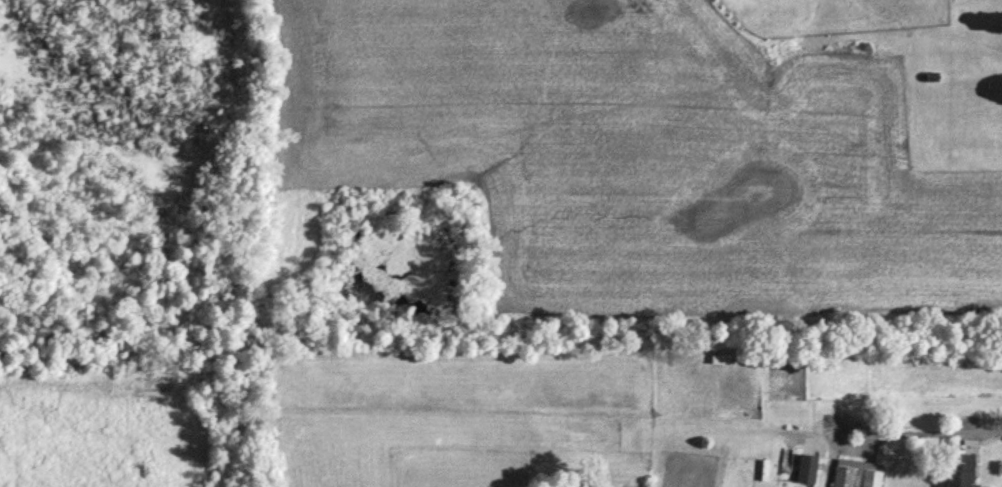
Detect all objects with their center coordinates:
road: (907, 432)
building: (808, 468)
building: (961, 470)
building: (858, 473)

